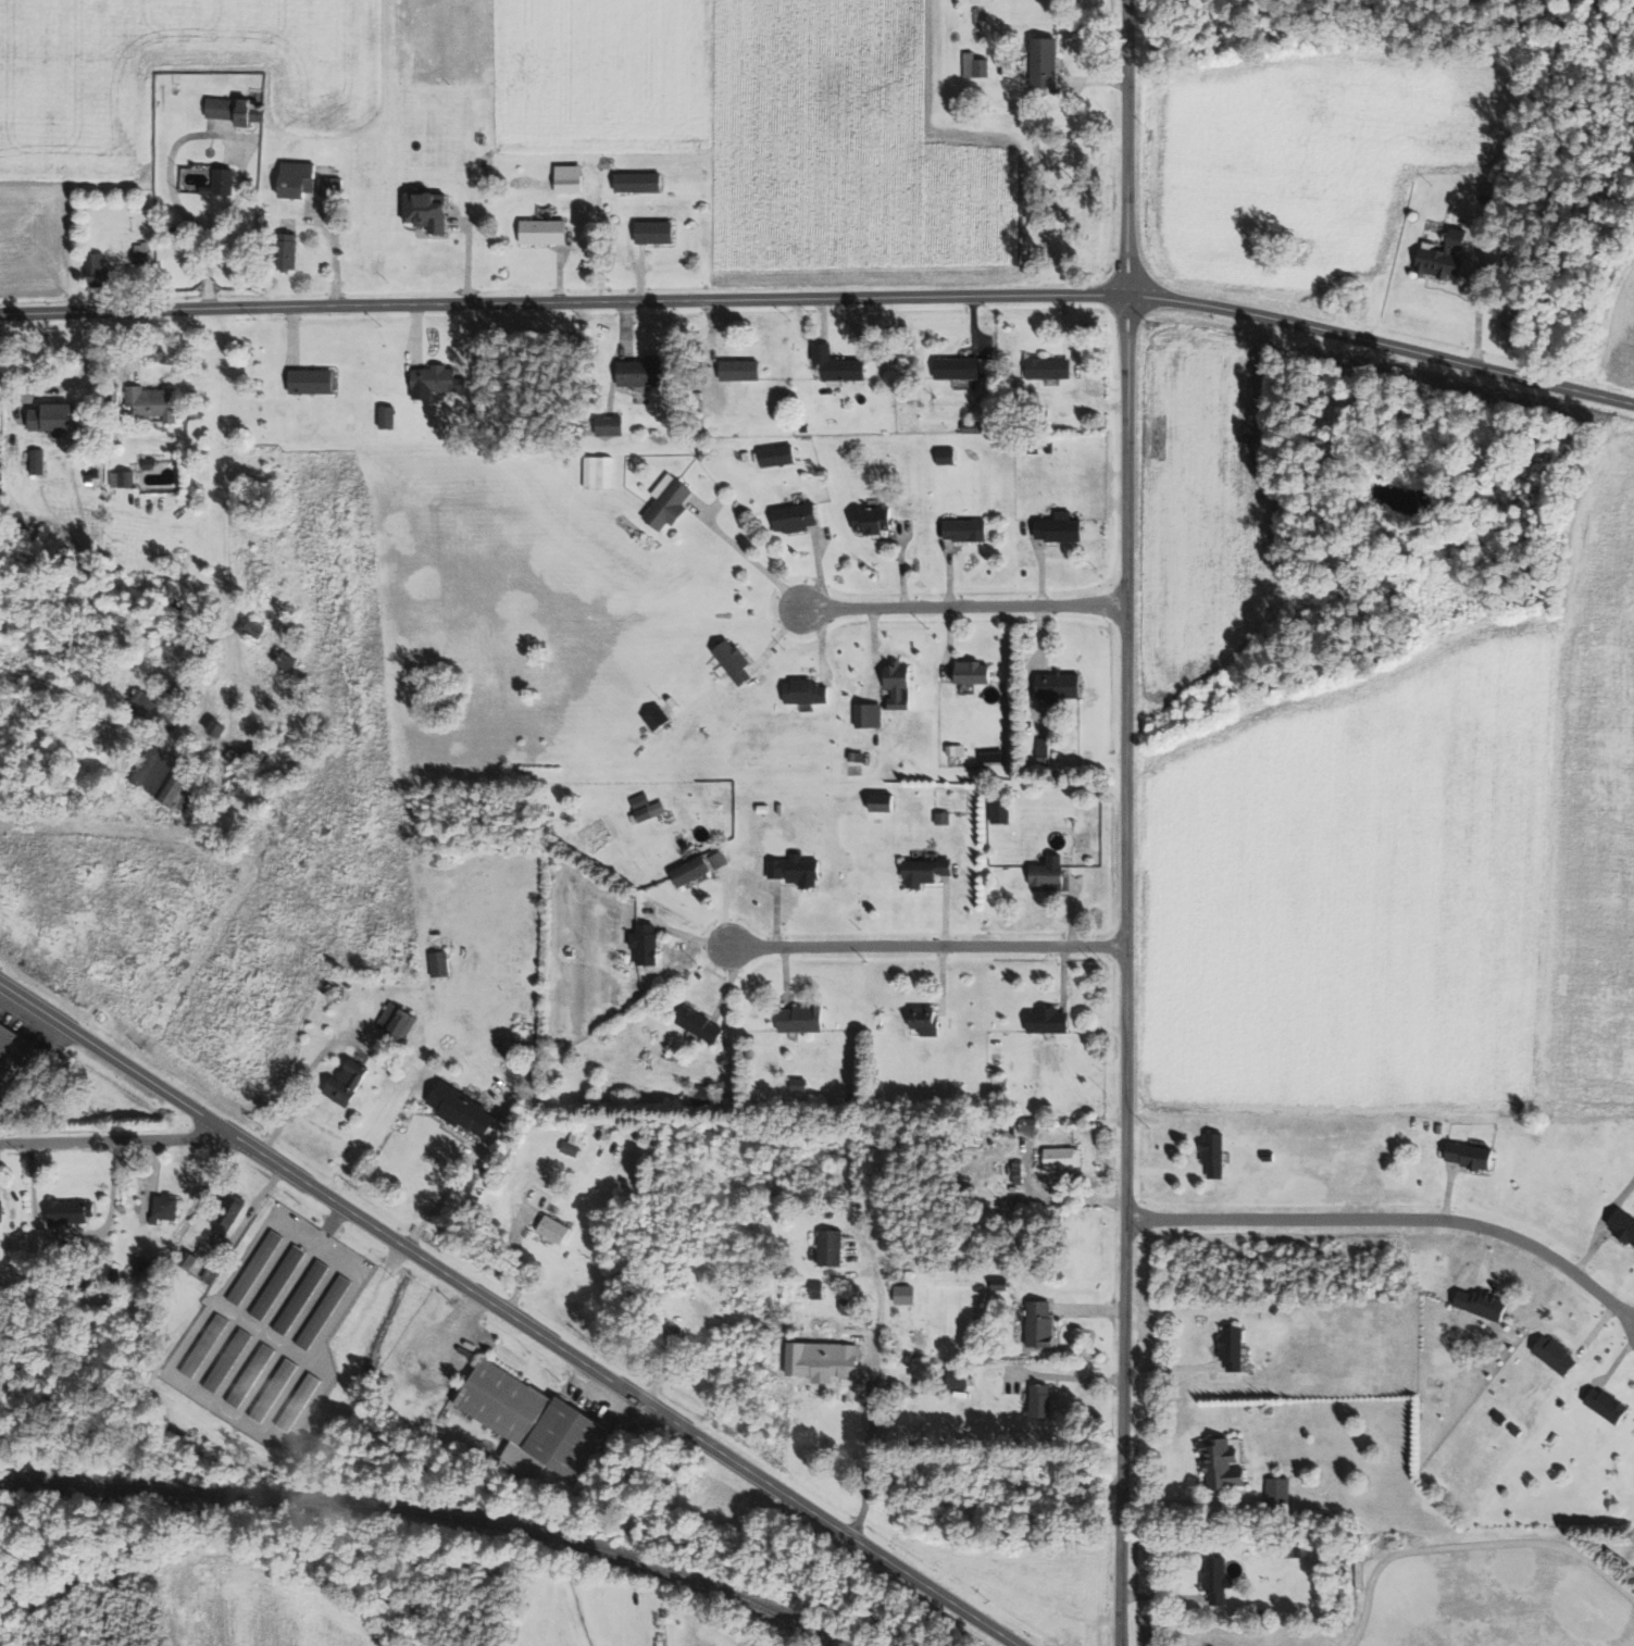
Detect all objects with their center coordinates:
building: (981, 0)
building: (1048, 62)
building: (976, 65)
crop: (73, 89)
building: (235, 110)
road: (244, 146)
building: (573, 178)
building: (307, 180)
building: (641, 182)
building: (221, 184)
building: (431, 210)
building: (173, 228)
building: (545, 232)
building: (659, 232)
building: (294, 250)
building: (141, 253)
building: (1437, 255)
building: (99, 272)
road: (666, 303)
road: (104, 313)
road: (1380, 344)
building: (839, 364)
road: (91, 365)
building: (963, 366)
building: (1051, 369)
building: (746, 370)
building: (652, 372)
building: (315, 381)
building: (439, 381)
building: (154, 400)
building: (53, 416)
building: (389, 416)
building: (614, 425)
building: (1, 450)
building: (781, 454)
building: (949, 456)
building: (38, 460)
building: (152, 462)
building: (599, 472)
building: (122, 477)
building: (671, 501)
building: (799, 516)
building: (1063, 527)
building: (969, 529)
road: (749, 559)
road: (963, 606)
building: (255, 627)
building: (289, 660)
building: (736, 660)
building: (976, 672)
building: (902, 685)
building: (1061, 686)
building: (809, 691)
building: (157, 711)
building: (871, 714)
building: (660, 719)
building: (217, 728)
building: (1045, 748)
building: (237, 757)
building: (172, 780)
building: (884, 802)
building: (653, 810)
building: (1005, 813)
road: (1125, 823)
building: (701, 866)
building: (799, 870)
building: (1043, 870)
building: (930, 871)
building: (649, 944)
road: (925, 946)
building: (441, 963)
building: (806, 1019)
building: (399, 1020)
building: (920, 1020)
building: (1043, 1020)
building: (702, 1024)
road: (87, 1038)
building: (12, 1046)
road: (36, 1071)
building: (351, 1083)
building: (467, 1111)
road: (205, 1115)
building: (1023, 1124)
road: (119, 1143)
building: (575, 1143)
building: (1209, 1152)
building: (1464, 1155)
building: (1058, 1157)
road: (463, 1171)
building: (1013, 1172)
building: (165, 1206)
building: (1, 1210)
building: (71, 1212)
road: (1395, 1220)
building: (225, 1223)
building: (1619, 1225)
building: (553, 1227)
building: (826, 1246)
building: (139, 1263)
building: (257, 1267)
building: (210, 1272)
building: (115, 1274)
building: (279, 1281)
building: (813, 1288)
building: (898, 1294)
building: (303, 1296)
building: (1474, 1302)
building: (326, 1310)
building: (1035, 1323)
building: (207, 1345)
road: (560, 1346)
building: (1227, 1347)
building: (1549, 1354)
building: (230, 1359)
building: (826, 1362)
building: (252, 1374)
building: (952, 1382)
building: (275, 1389)
building: (1036, 1399)
building: (300, 1401)
building: (1600, 1404)
building: (537, 1421)
road: (870, 1459)
building: (1217, 1464)
building: (1274, 1492)
railway: (433, 1512)
building: (1293, 1549)
building: (1212, 1579)
road: (951, 1600)
park: (1490, 1600)

